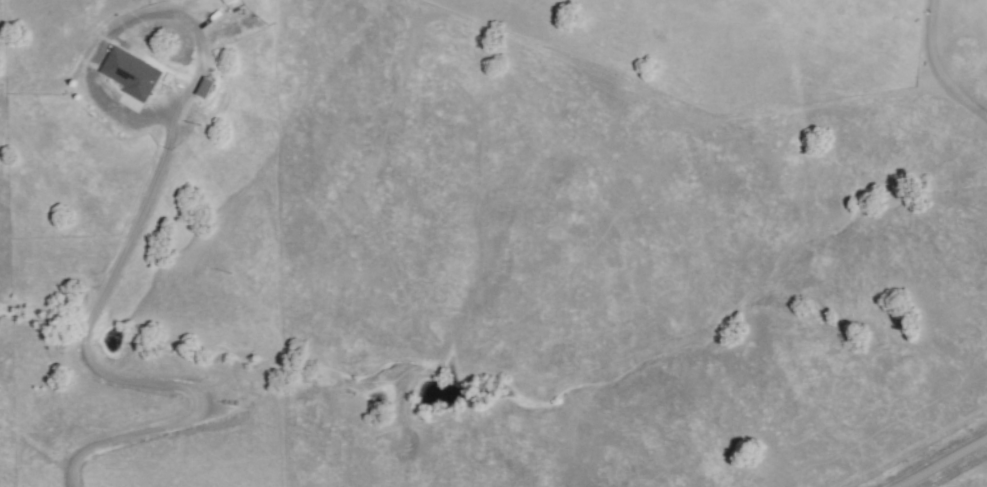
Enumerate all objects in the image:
building: (224, 1)
building: (230, 1)
road: (939, 65)
building: (131, 72)
building: (201, 88)
road: (84, 371)
building: (441, 399)
road: (941, 462)

